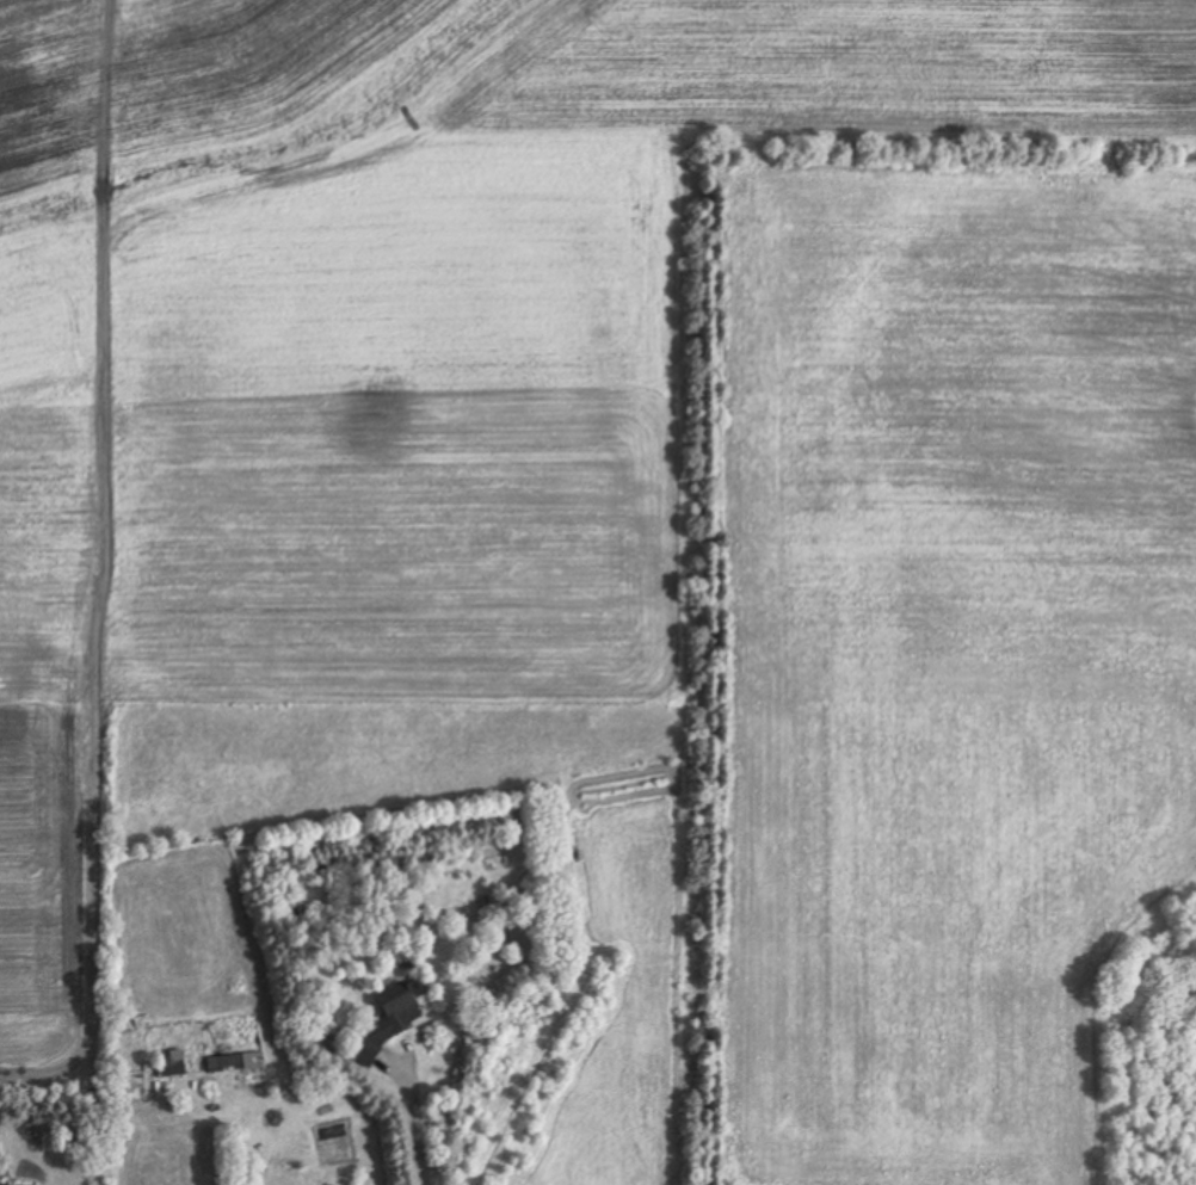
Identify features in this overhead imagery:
building: (394, 1019)
building: (226, 1063)
building: (173, 1064)
road: (419, 1123)
building: (2, 1184)

